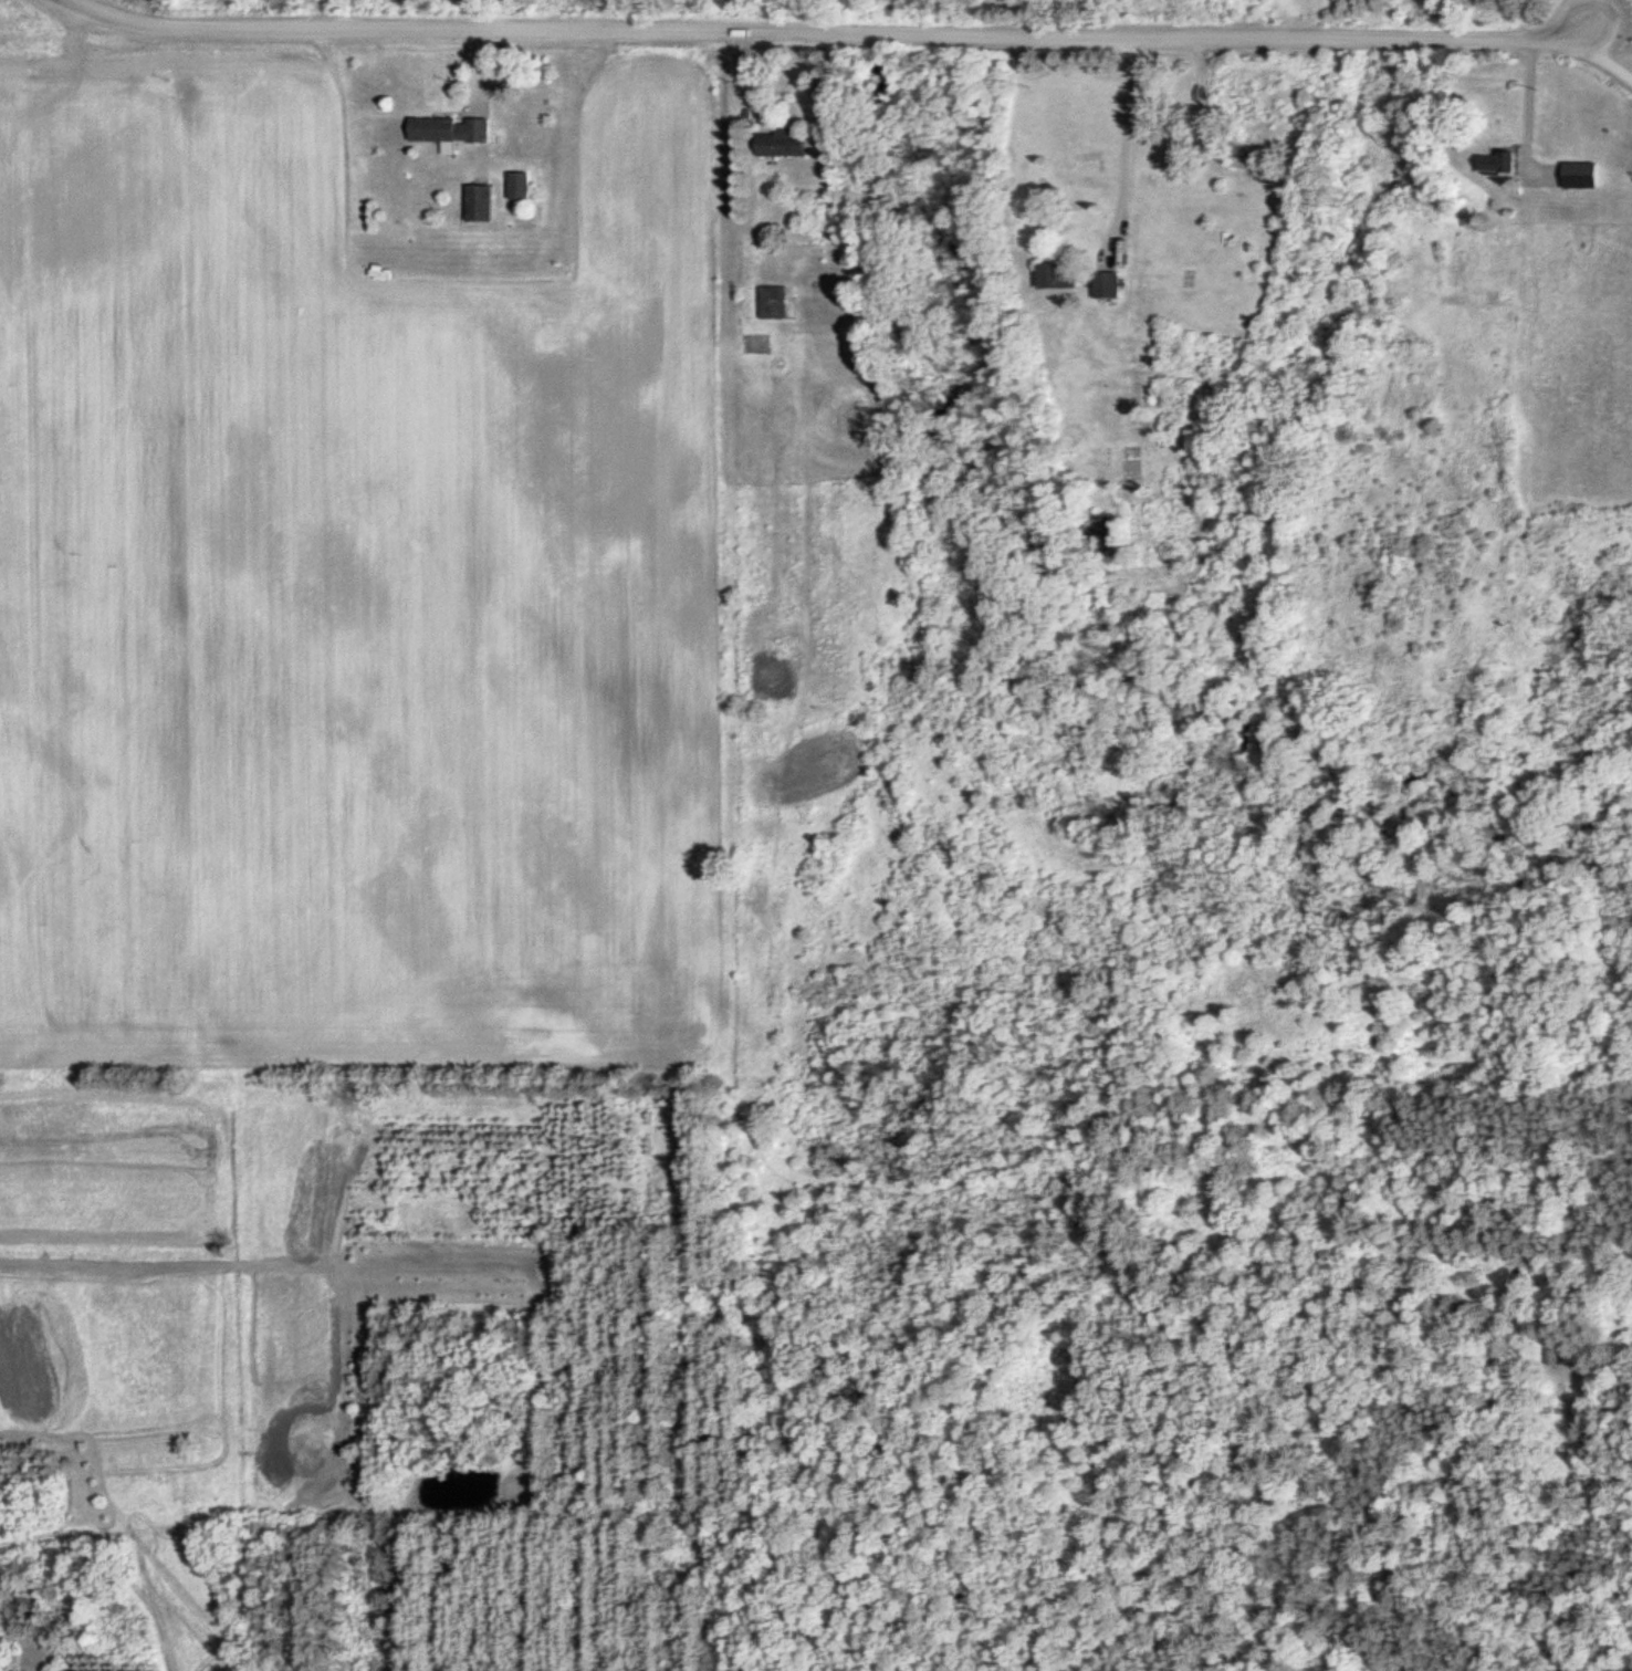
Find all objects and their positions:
road: (313, 13)
road: (829, 32)
road: (1605, 56)
building: (441, 127)
building: (484, 128)
building: (793, 140)
road: (1126, 146)
building: (1493, 161)
building: (1260, 166)
building: (1579, 174)
building: (524, 184)
building: (487, 201)
building: (1451, 263)
building: (1069, 274)
building: (1113, 283)
building: (781, 301)
building: (1550, 1356)

